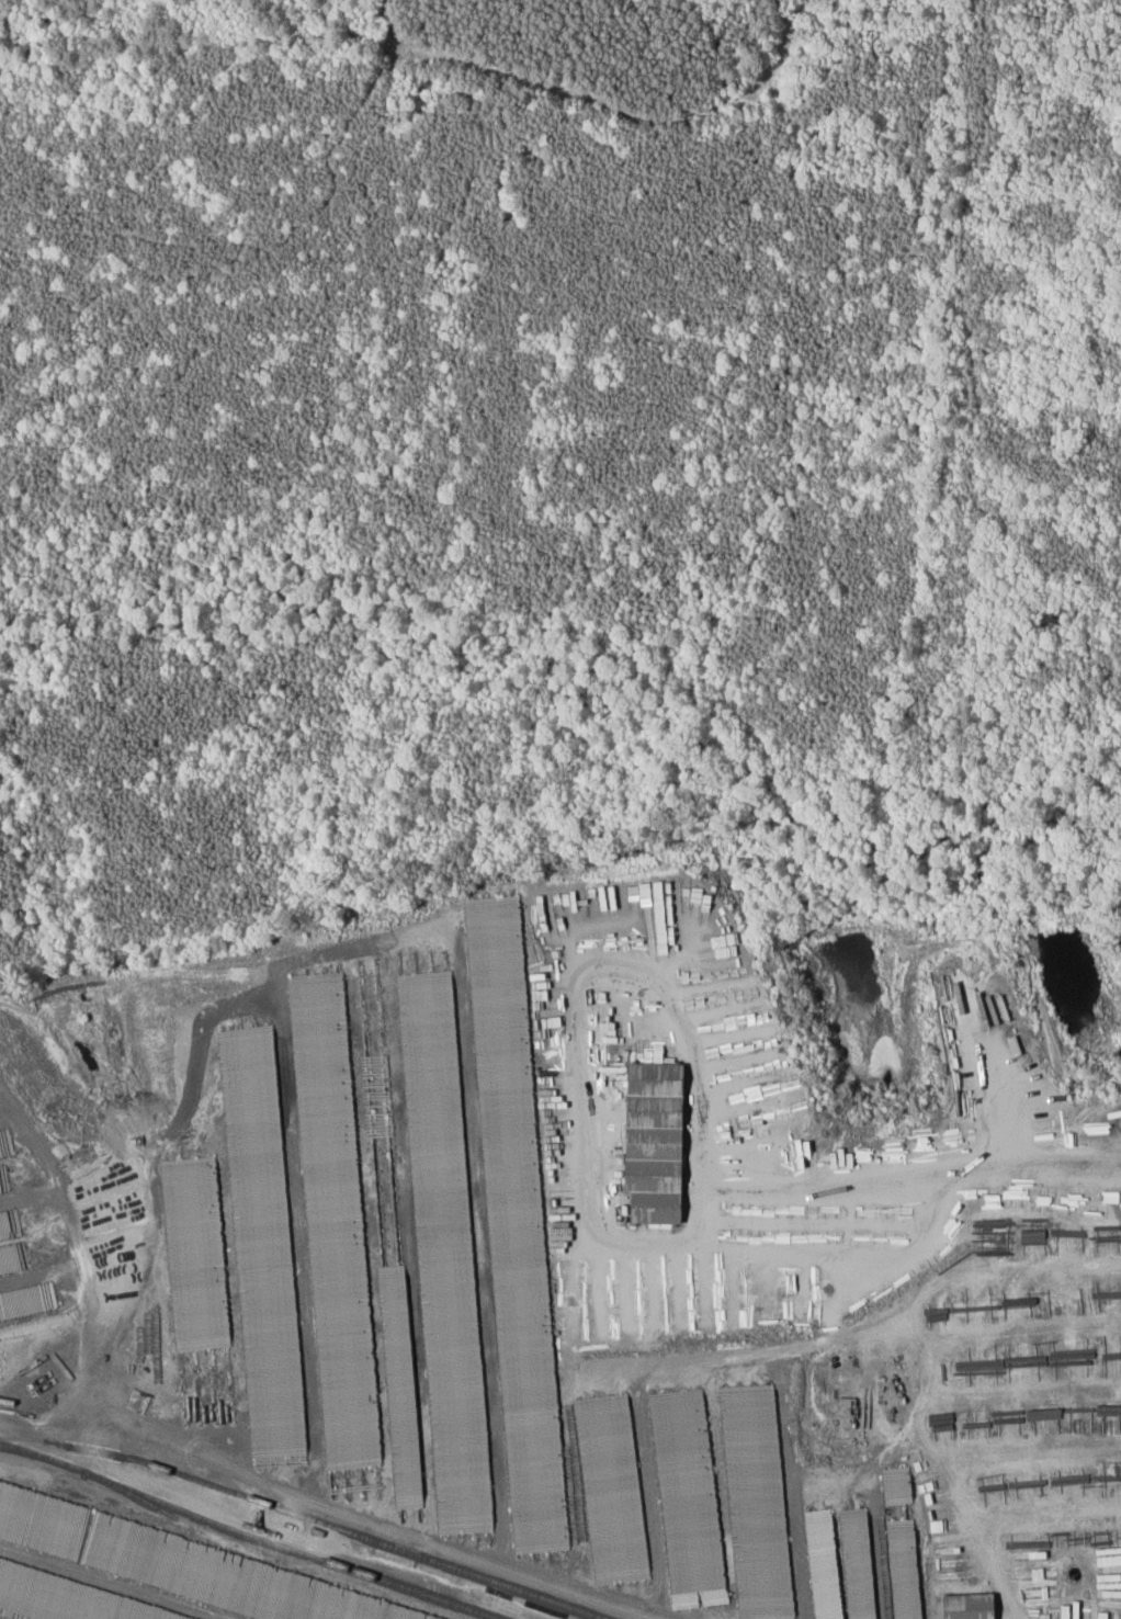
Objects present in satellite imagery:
building: (650, 1141)
road: (867, 1327)
railway: (32, 1441)
railway: (141, 1497)
railway: (337, 1526)
railway: (249, 1533)
building: (965, 1606)

